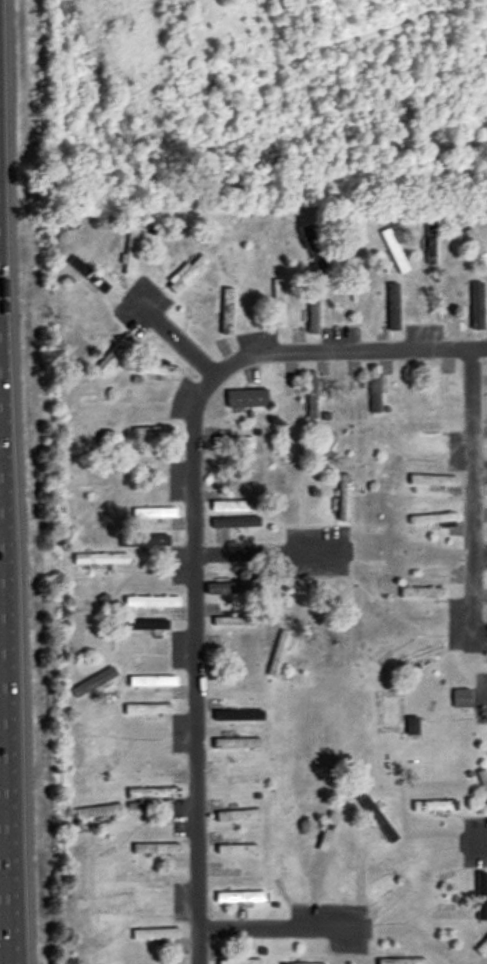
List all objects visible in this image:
building: (347, 239)
building: (475, 244)
building: (131, 252)
building: (187, 272)
building: (278, 302)
building: (477, 306)
building: (394, 307)
building: (227, 311)
building: (313, 311)
road: (169, 332)
road: (346, 348)
building: (156, 370)
building: (343, 388)
building: (438, 388)
building: (376, 389)
building: (313, 396)
building: (247, 399)
building: (421, 427)
building: (152, 432)
building: (92, 435)
building: (233, 443)
building: (326, 450)
building: (433, 481)
building: (344, 498)
road: (472, 498)
building: (281, 503)
building: (154, 513)
building: (435, 519)
building: (237, 522)
road: (271, 549)
building: (437, 567)
building: (230, 588)
building: (422, 595)
building: (272, 596)
building: (340, 601)
building: (227, 621)
building: (144, 625)
building: (280, 654)
building: (422, 656)
road: (194, 666)
building: (94, 683)
road: (481, 695)
building: (462, 699)
building: (149, 710)
building: (238, 717)
building: (412, 727)
building: (96, 766)
road: (3, 768)
building: (242, 778)
building: (152, 794)
building: (99, 812)
building: (238, 816)
road: (479, 836)
building: (157, 849)
building: (237, 850)
building: (136, 877)
building: (351, 879)
building: (240, 897)
building: (103, 903)
road: (283, 924)
building: (156, 934)
building: (482, 948)
building: (402, 961)
building: (240, 962)

